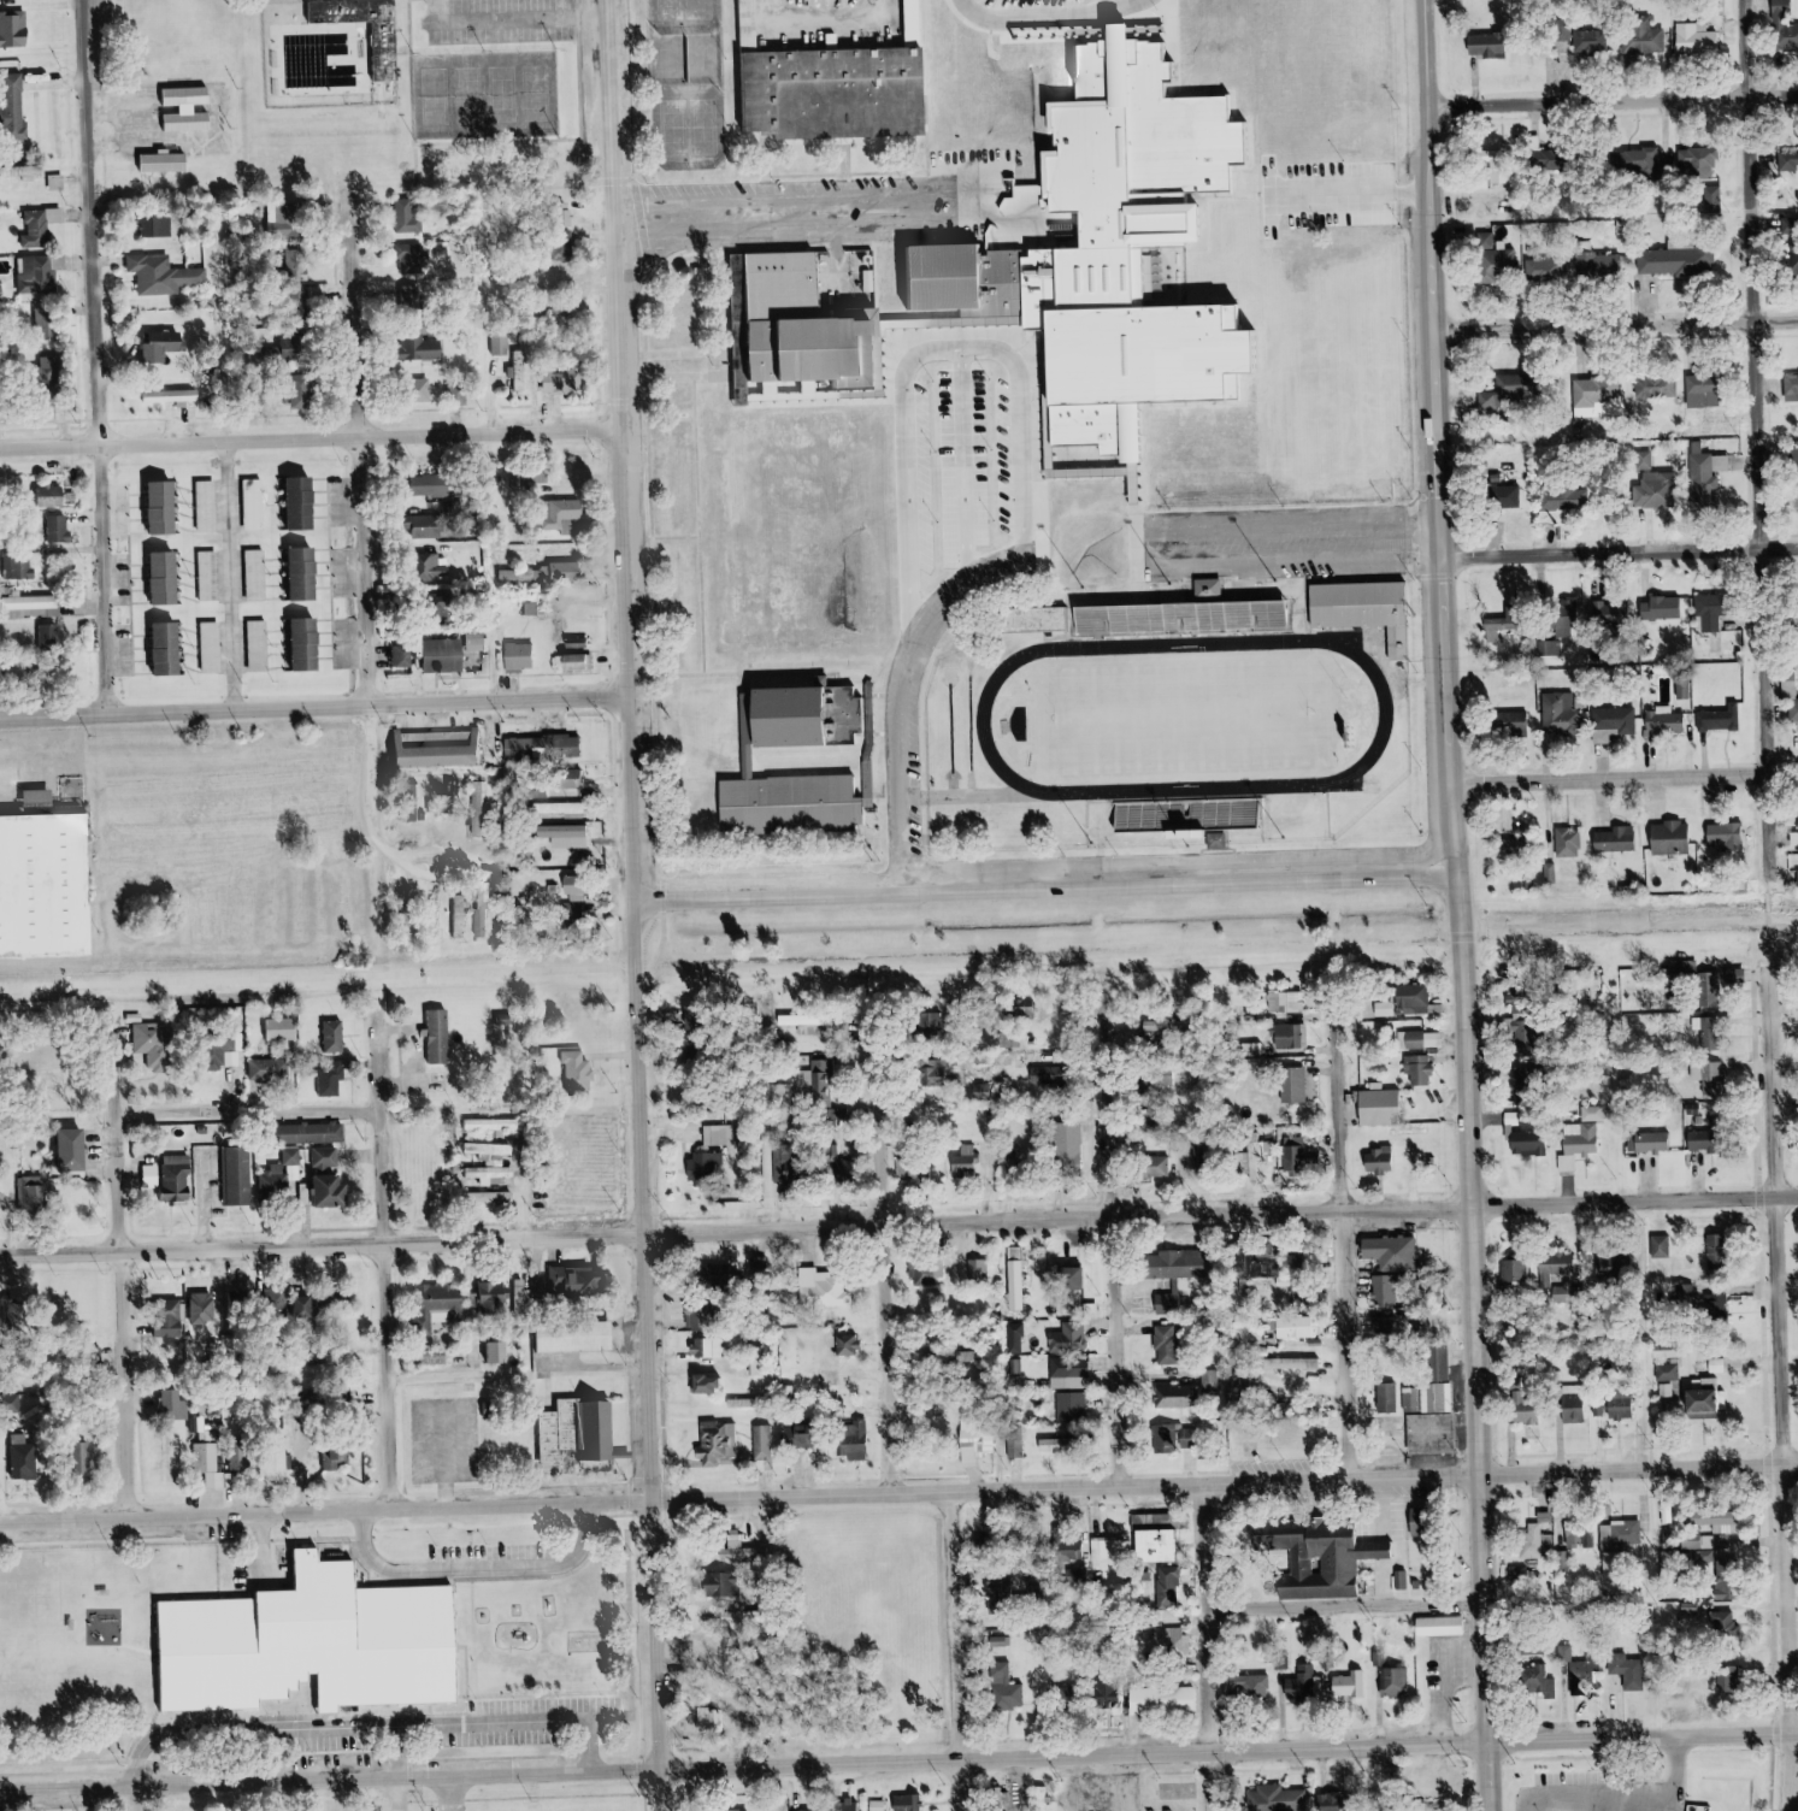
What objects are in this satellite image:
road: (371, 1)
road: (1038, 14)
park: (700, 17)
parking lot: (514, 20)
building: (745, 22)
building: (1781, 28)
building: (17, 30)
building: (1696, 37)
building: (1641, 39)
building: (1590, 41)
building: (1486, 43)
building: (390, 51)
park: (702, 61)
park: (435, 88)
building: (13, 96)
park: (499, 99)
road: (1617, 100)
park: (703, 129)
building: (1641, 159)
building: (1698, 159)
building: (1787, 160)
building: (169, 163)
building: (1498, 166)
road: (1032, 195)
building: (289, 213)
road: (1033, 222)
building: (1788, 224)
building: (41, 226)
building: (160, 226)
building: (1793, 256)
building: (414, 258)
building: (1679, 258)
building: (1495, 259)
building: (1600, 262)
building: (1546, 269)
building: (165, 273)
building: (37, 275)
building: (2, 291)
road: (1621, 320)
building: (806, 325)
building: (432, 348)
building: (166, 350)
road: (112, 358)
road: (1109, 362)
park: (1260, 368)
building: (519, 371)
road: (1073, 371)
building: (564, 382)
building: (1653, 384)
building: (1791, 387)
building: (1596, 388)
building: (426, 389)
building: (1705, 389)
building: (1509, 390)
building: (177, 396)
road: (316, 438)
road: (369, 452)
road: (1764, 454)
building: (1794, 460)
building: (1721, 461)
building: (1702, 473)
building: (531, 476)
building: (1657, 480)
building: (432, 485)
building: (59, 495)
building: (1508, 496)
building: (1562, 499)
building: (258, 505)
building: (211, 506)
building: (165, 509)
building: (431, 526)
road: (712, 527)
building: (60, 529)
road: (686, 539)
road: (648, 541)
road: (1054, 550)
building: (311, 551)
road: (1625, 553)
road: (1263, 566)
building: (259, 574)
building: (523, 574)
building: (211, 577)
road: (246, 578)
building: (167, 579)
building: (1208, 586)
building: (1619, 606)
building: (34, 607)
building: (1661, 607)
building: (532, 608)
building: (1364, 608)
building: (1712, 608)
building: (1575, 613)
building: (1036, 619)
building: (1504, 621)
building: (1093, 624)
building: (1136, 624)
building: (49, 635)
building: (476, 642)
building: (583, 642)
building: (313, 643)
building: (261, 645)
building: (213, 647)
building: (1548, 648)
building: (170, 649)
building: (403, 655)
building: (447, 655)
building: (524, 656)
building: (585, 661)
building: (1790, 697)
road: (319, 710)
building: (1558, 713)
track: (985, 718)
building: (1717, 718)
park: (1186, 719)
building: (1613, 719)
building: (1662, 719)
building: (1516, 722)
building: (525, 748)
building: (442, 749)
road: (1629, 780)
road: (968, 800)
building: (792, 806)
building: (570, 808)
road: (384, 828)
building: (1723, 836)
building: (572, 837)
building: (1670, 837)
building: (1794, 838)
road: (673, 839)
building: (1615, 839)
building: (1567, 842)
building: (1796, 878)
road: (1053, 880)
building: (48, 881)
building: (578, 887)
building: (464, 899)
road: (643, 905)
road: (1466, 905)
building: (487, 915)
road: (1225, 946)
railway: (898, 954)
building: (1682, 968)
road: (323, 978)
building: (1711, 989)
building: (1411, 998)
building: (1286, 1001)
building: (698, 1017)
building: (807, 1021)
building: (1169, 1026)
building: (283, 1028)
building: (1708, 1031)
building: (1285, 1034)
building: (332, 1036)
building: (1526, 1037)
building: (441, 1038)
building: (1408, 1039)
building: (152, 1043)
building: (235, 1058)
road: (1769, 1061)
building: (1416, 1068)
building: (270, 1069)
building: (579, 1072)
building: (939, 1072)
building: (1050, 1075)
building: (1711, 1075)
building: (821, 1079)
building: (331, 1083)
building: (1293, 1084)
building: (783, 1091)
building: (705, 1098)
building: (1381, 1107)
road: (260, 1115)
building: (493, 1125)
building: (316, 1133)
building: (1523, 1133)
building: (718, 1134)
building: (1705, 1139)
building: (1647, 1142)
building: (1068, 1145)
building: (1578, 1145)
building: (78, 1150)
building: (1293, 1152)
building: (1203, 1156)
building: (1379, 1160)
building: (490, 1162)
building: (965, 1162)
building: (912, 1164)
building: (1159, 1166)
building: (708, 1170)
building: (283, 1174)
building: (154, 1176)
building: (241, 1176)
building: (182, 1178)
building: (334, 1179)
building: (33, 1193)
road: (1773, 1198)
road: (898, 1223)
road: (1351, 1245)
building: (1660, 1246)
road: (1119, 1247)
building: (1715, 1251)
road: (891, 1256)
building: (1179, 1263)
road: (393, 1264)
building: (1390, 1264)
building: (1556, 1266)
building: (977, 1269)
road: (137, 1270)
building: (1514, 1270)
building: (921, 1272)
building: (721, 1273)
building: (1077, 1274)
building: (1014, 1276)
building: (579, 1281)
building: (824, 1288)
building: (1299, 1292)
building: (1564, 1292)
building: (494, 1296)
building: (447, 1299)
building: (1171, 1299)
building: (1715, 1300)
road: (1785, 1303)
building: (306, 1305)
building: (237, 1306)
building: (205, 1308)
building: (169, 1321)
building: (1296, 1327)
road: (1770, 1332)
building: (1073, 1334)
building: (1177, 1340)
building: (860, 1344)
building: (718, 1345)
building: (502, 1352)
building: (191, 1358)
building: (1083, 1367)
building: (1173, 1398)
building: (1385, 1399)
building: (1699, 1402)
building: (173, 1403)
building: (1616, 1405)
building: (1069, 1409)
building: (1295, 1410)
building: (1573, 1412)
building: (1427, 1420)
building: (589, 1437)
building: (796, 1437)
building: (1189, 1440)
building: (1162, 1441)
building: (761, 1443)
building: (849, 1443)
building: (979, 1445)
building: (1055, 1446)
building: (340, 1458)
building: (23, 1461)
building: (278, 1461)
road: (1769, 1465)
building: (216, 1467)
road: (898, 1496)
building: (1574, 1530)
road: (649, 1534)
building: (1157, 1535)
building: (1533, 1538)
building: (1687, 1541)
building: (1615, 1546)
building: (1719, 1550)
building: (1337, 1558)
building: (998, 1588)
building: (1159, 1589)
road: (1780, 1601)
road: (1356, 1610)
building: (1454, 1624)
building: (1723, 1628)
building: (311, 1644)
road: (1221, 1647)
building: (1167, 1650)
road: (967, 1651)
road: (644, 1652)
building: (1576, 1652)
building: (1640, 1669)
building: (1626, 1673)
building: (1596, 1676)
road: (1458, 1677)
building: (1726, 1681)
building: (1392, 1683)
building: (1346, 1685)
building: (1537, 1685)
building: (1298, 1686)
building: (1003, 1689)
building: (1248, 1689)
building: (1103, 1693)
building: (1160, 1701)
road: (1576, 1705)
road: (737, 1707)
road: (442, 1709)
road: (393, 1710)
road: (1631, 1711)
building: (723, 1719)
road: (275, 1722)
road: (1790, 1736)
road: (739, 1738)
road: (1647, 1739)
road: (749, 1768)
road: (1788, 1781)
building: (1728, 1789)
road: (465, 1792)
road: (411, 1793)
road: (153, 1800)
road: (549, 1800)
building: (996, 1800)
building: (1275, 1800)
building: (1581, 1800)
building: (1635, 1801)
building: (1333, 1803)
building: (904, 1804)
building: (1531, 1804)
building: (1434, 1805)
building: (848, 1807)
building: (876, 1807)

